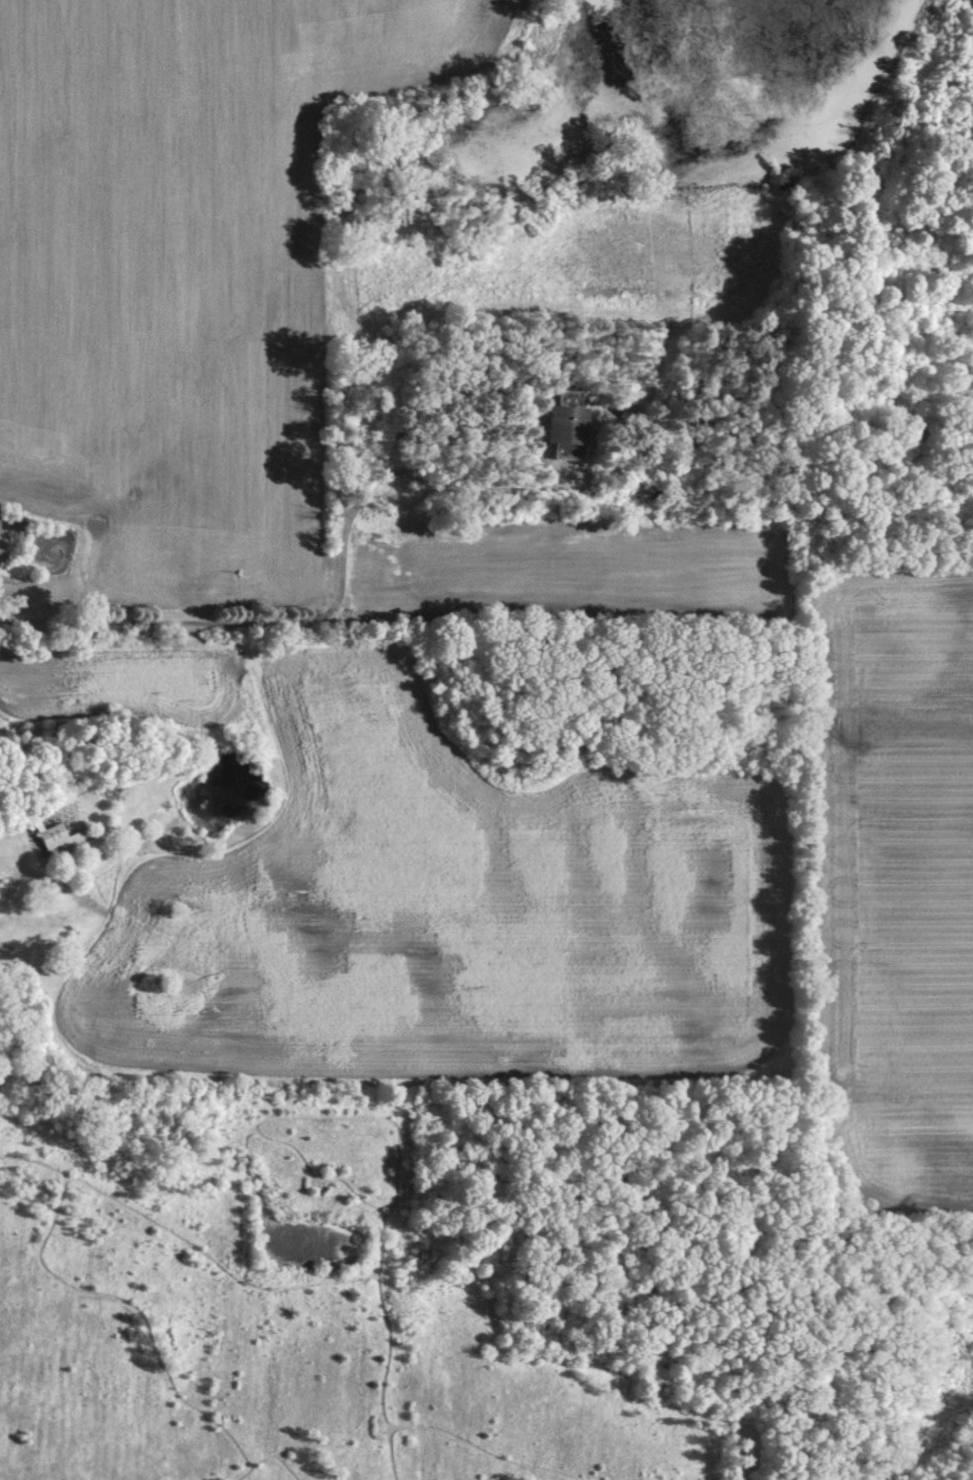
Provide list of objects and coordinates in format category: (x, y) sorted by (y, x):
building: (563, 430)
road: (329, 607)
building: (62, 831)
road: (17, 886)

